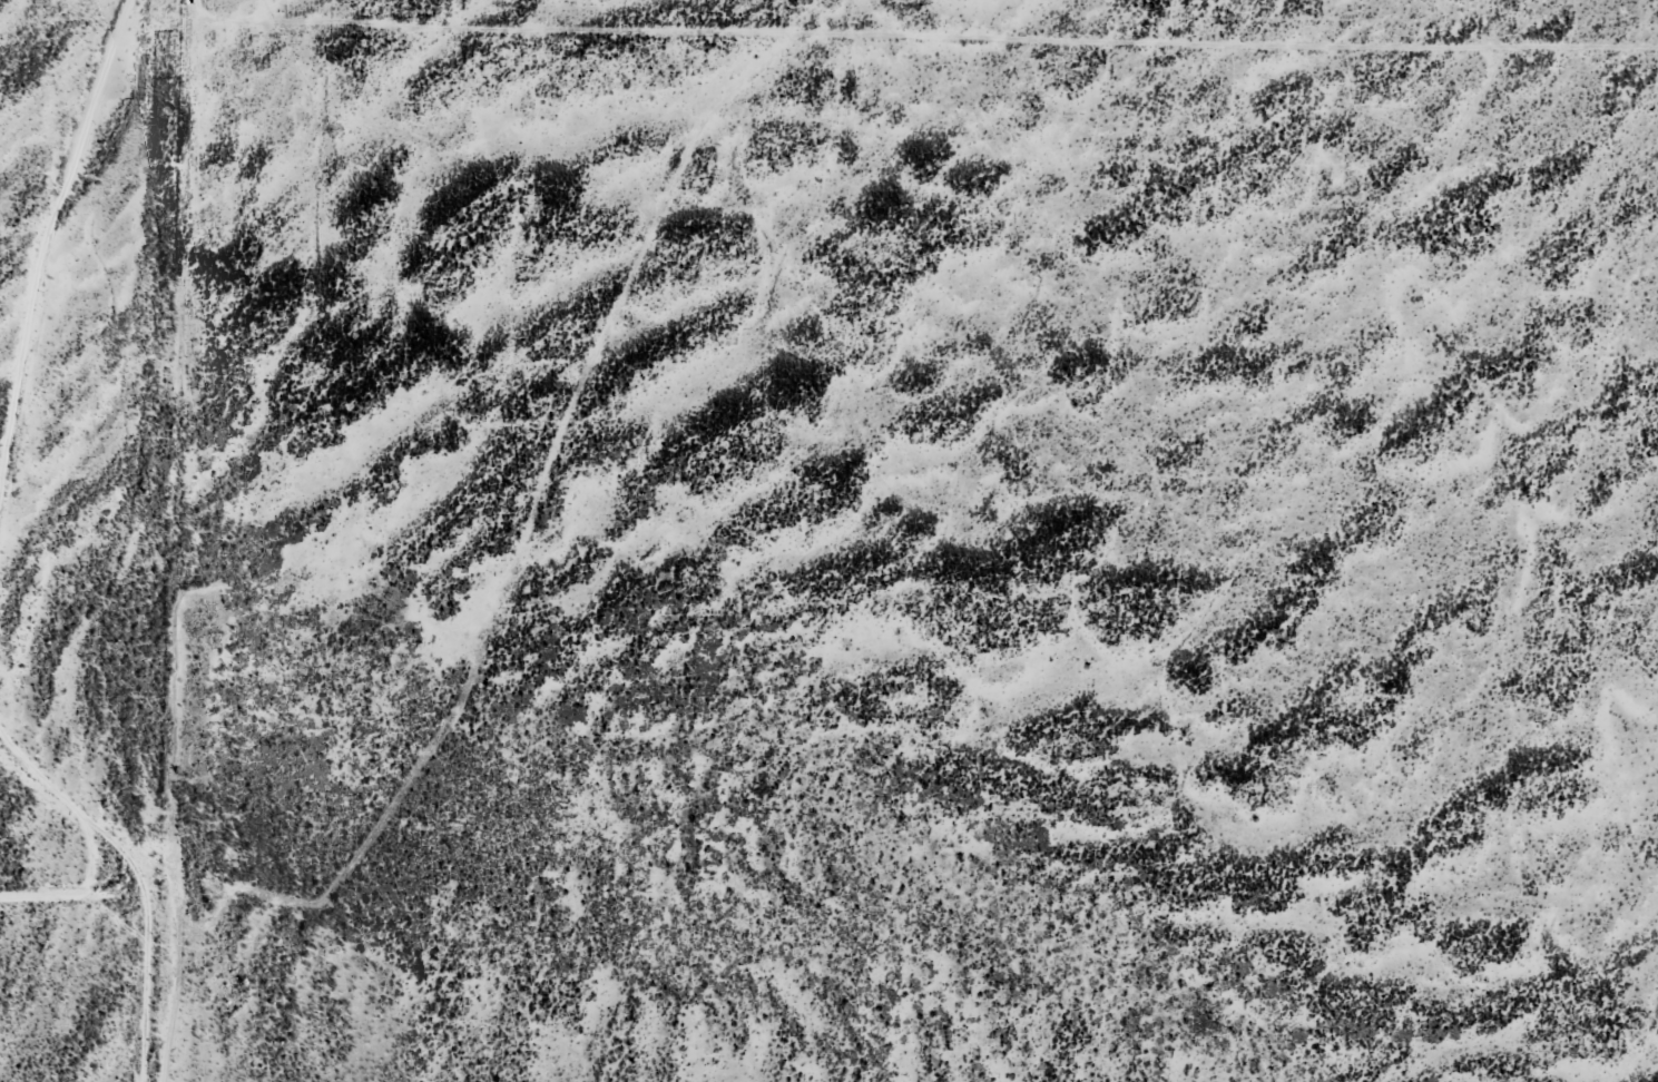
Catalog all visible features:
road: (145, 541)

